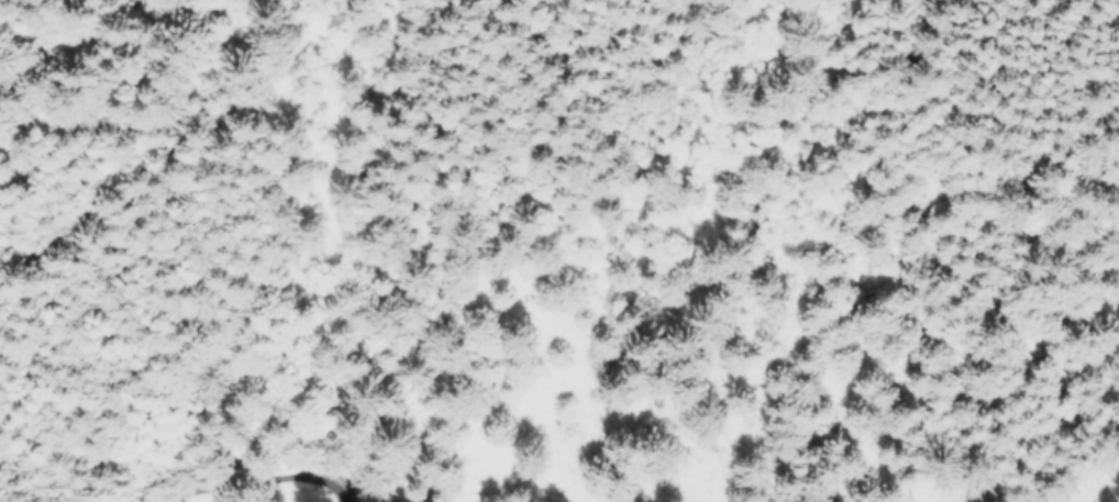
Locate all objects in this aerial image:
road: (248, 482)

